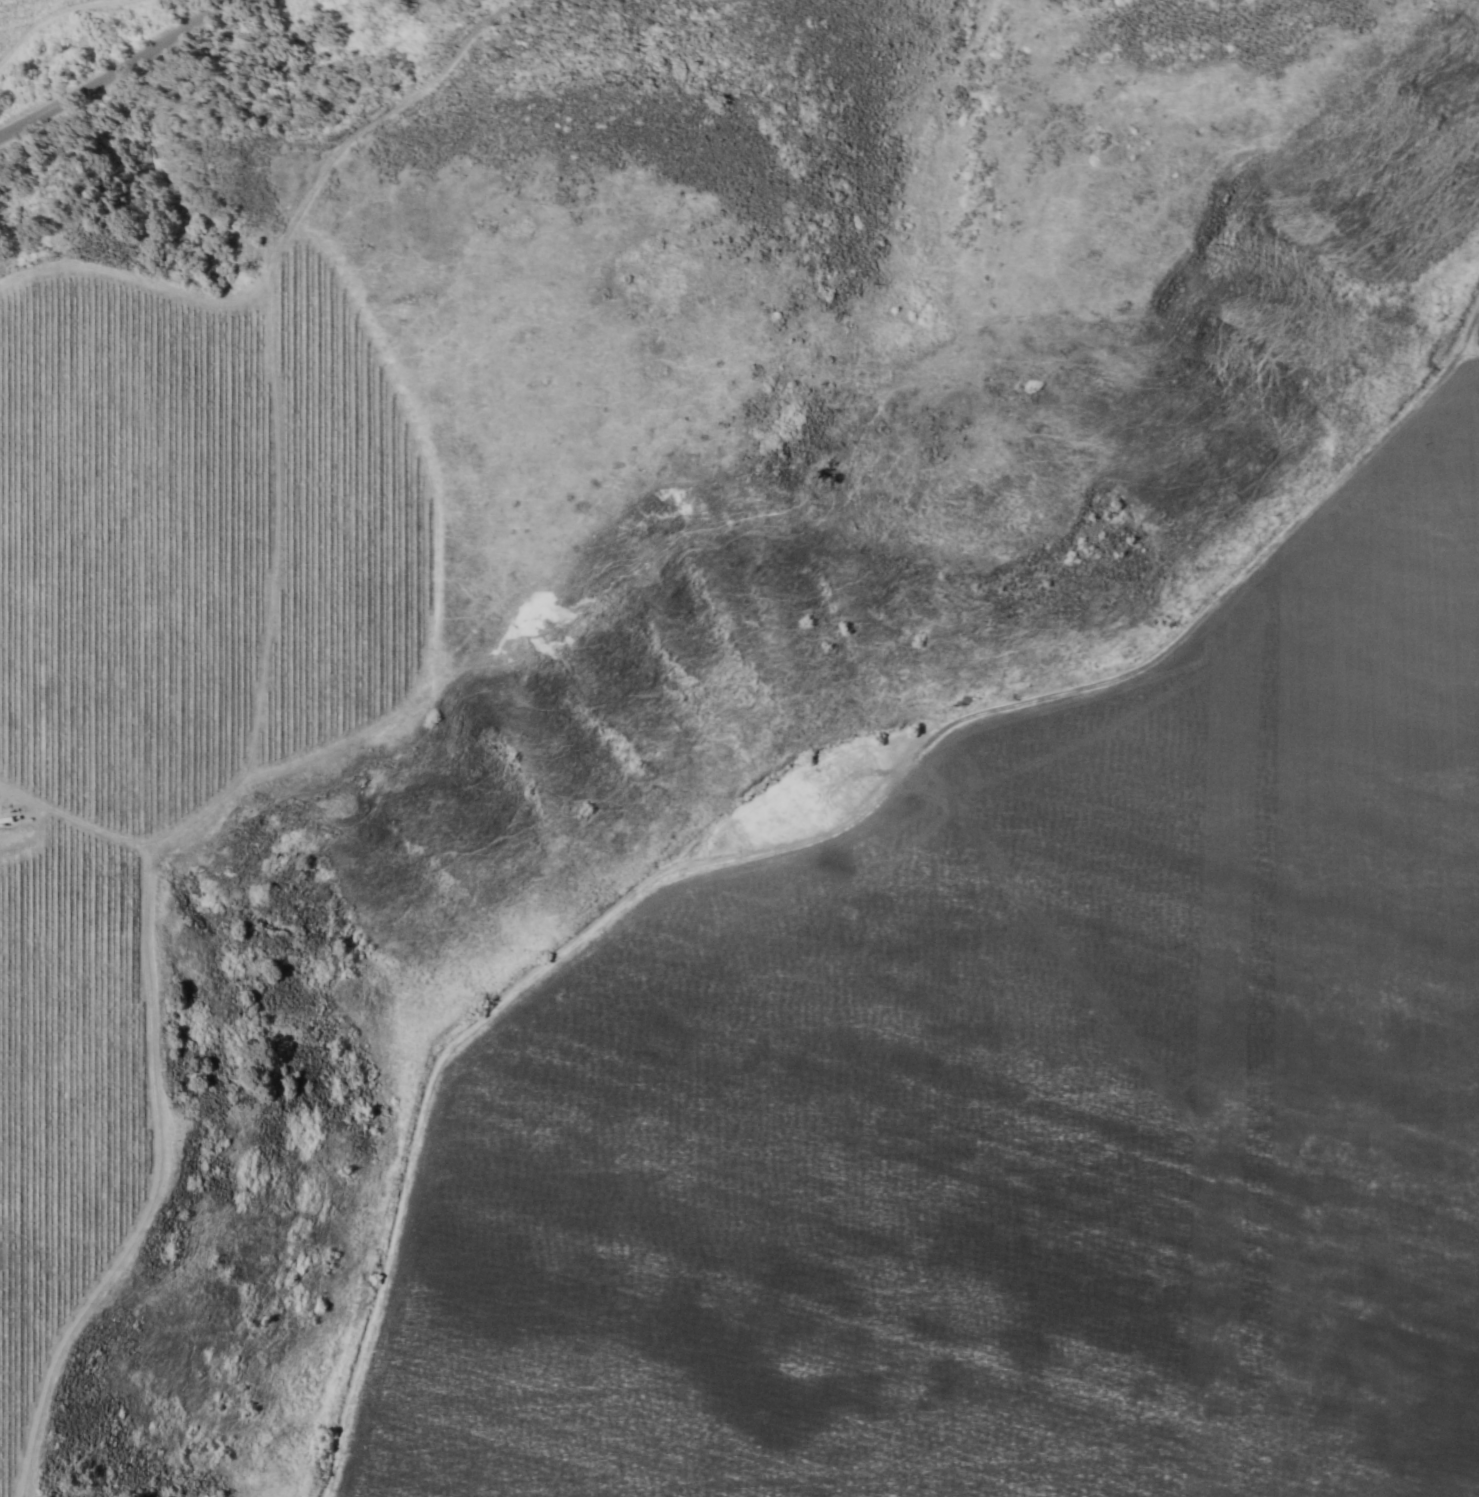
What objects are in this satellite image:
crop: (41, 21)
road: (118, 71)
crop: (1012, 1101)

